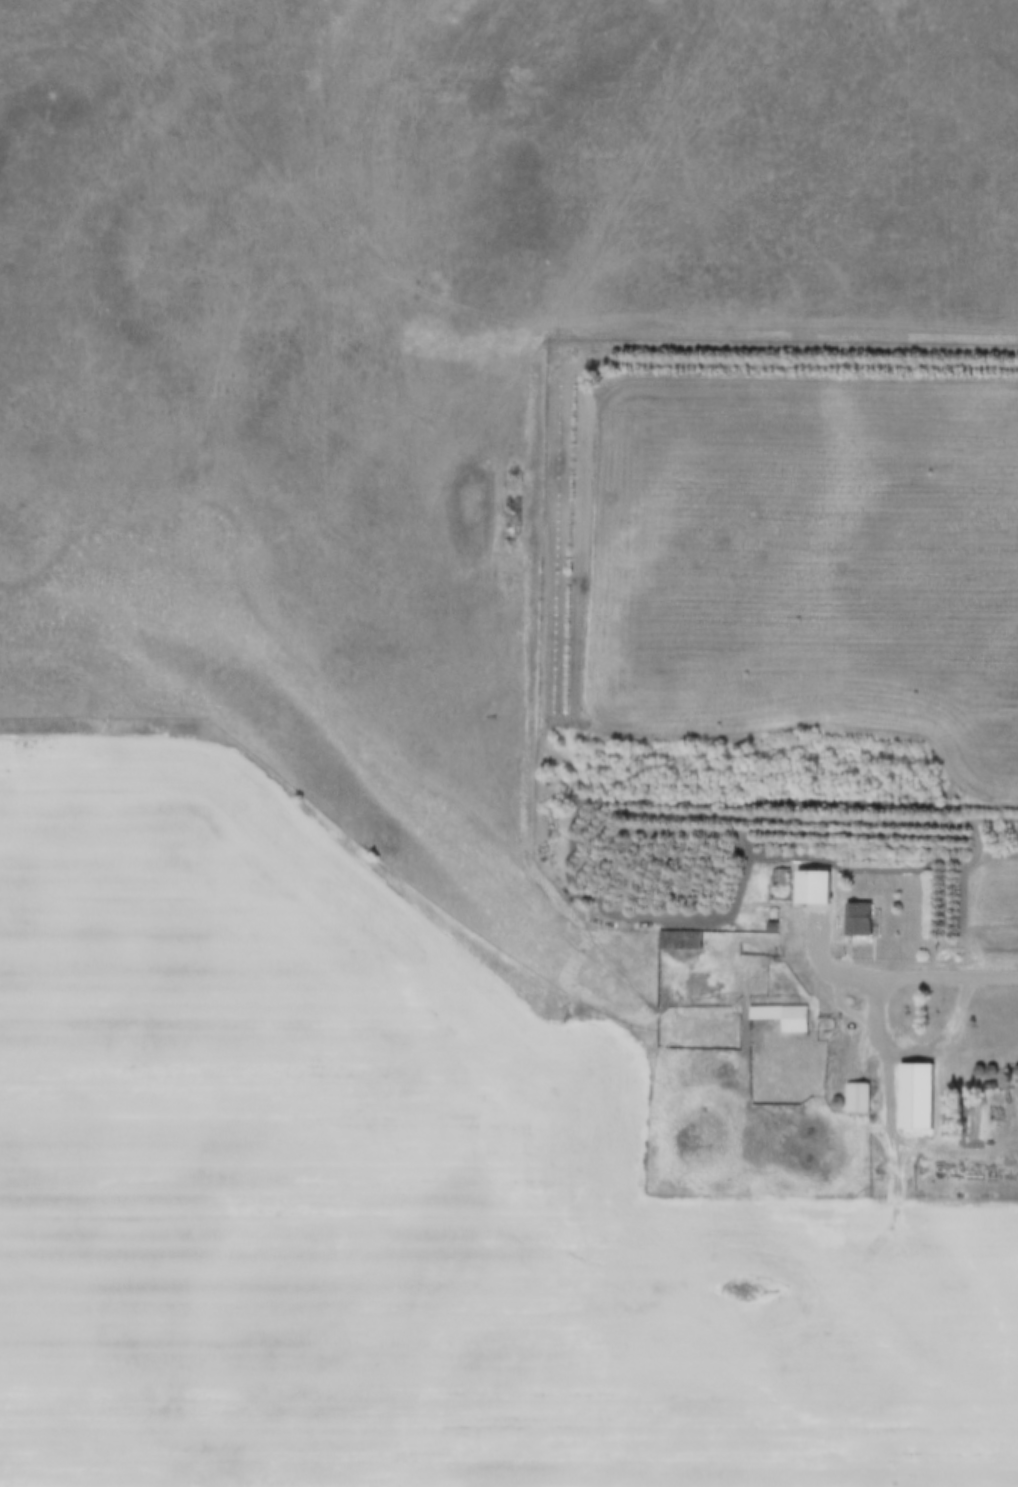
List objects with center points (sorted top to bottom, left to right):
building: (812, 888)
building: (859, 919)
building: (690, 939)
road: (994, 980)
building: (783, 1017)
road: (881, 1047)
building: (915, 1096)
building: (857, 1098)

